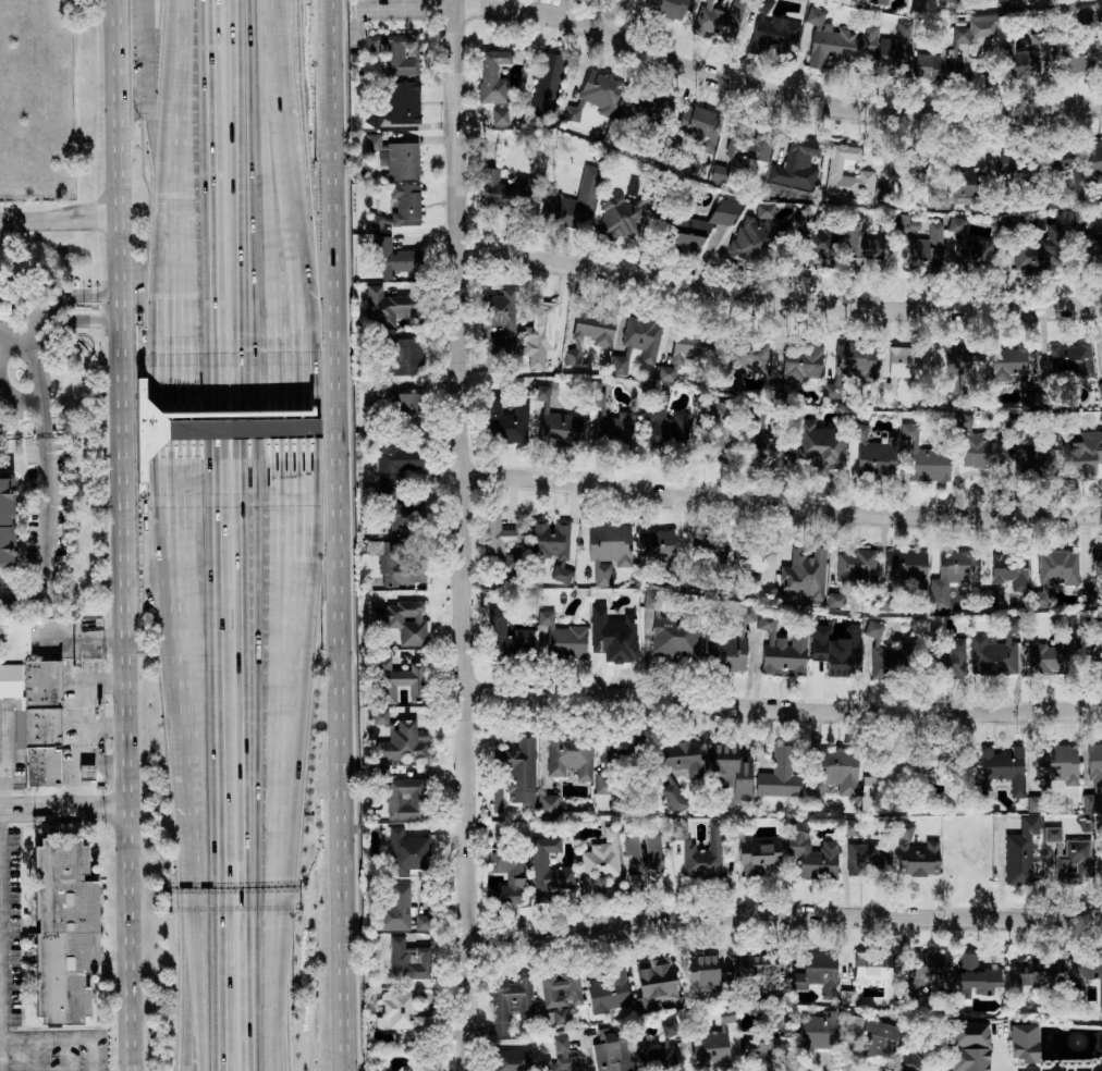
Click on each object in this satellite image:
building: (1034, 0)
building: (881, 2)
building: (766, 3)
building: (1013, 3)
road: (255, 5)
road: (260, 5)
building: (718, 19)
building: (984, 24)
building: (773, 36)
building: (828, 40)
building: (885, 44)
building: (396, 51)
road: (256, 56)
building: (1075, 56)
road: (182, 57)
building: (1026, 57)
building: (945, 59)
building: (492, 75)
road: (728, 79)
building: (595, 95)
building: (404, 101)
building: (649, 102)
building: (500, 115)
road: (147, 124)
building: (698, 127)
building: (372, 141)
building: (746, 143)
road: (257, 148)
road: (177, 153)
building: (1066, 159)
building: (1094, 159)
building: (403, 160)
building: (1012, 161)
building: (796, 164)
building: (833, 173)
building: (886, 185)
building: (958, 186)
building: (507, 190)
building: (576, 200)
building: (405, 204)
road: (84, 210)
road: (213, 213)
building: (617, 216)
road: (23, 220)
road: (84, 222)
building: (379, 222)
building: (701, 226)
road: (257, 227)
building: (758, 234)
road: (175, 245)
building: (866, 245)
building: (967, 245)
building: (926, 248)
building: (1090, 248)
building: (1039, 251)
building: (394, 259)
road: (258, 282)
road: (777, 299)
road: (51, 300)
building: (388, 305)
road: (70, 320)
building: (501, 321)
building: (589, 332)
building: (539, 333)
building: (641, 335)
building: (686, 352)
building: (751, 355)
building: (408, 356)
building: (1070, 359)
building: (803, 361)
building: (621, 364)
building: (1006, 364)
building: (849, 365)
building: (904, 368)
building: (956, 368)
road: (39, 374)
road: (17, 398)
building: (1031, 398)
building: (396, 399)
road: (179, 413)
building: (609, 419)
building: (507, 420)
building: (555, 420)
road: (20, 421)
building: (664, 422)
toll booth: (259, 427)
toll booth: (180, 428)
toll booth: (218, 428)
toll booth: (226, 428)
building: (719, 435)
building: (821, 445)
building: (981, 448)
building: (770, 451)
building: (873, 452)
building: (1080, 454)
road: (259, 456)
building: (923, 458)
building: (396, 460)
building: (1028, 460)
road: (781, 506)
road: (26, 509)
building: (400, 513)
building: (7, 520)
road: (42, 529)
road: (121, 534)
road: (344, 534)
road: (462, 535)
building: (551, 545)
building: (374, 546)
building: (501, 546)
building: (656, 546)
building: (608, 549)
road: (181, 559)
building: (755, 561)
building: (1095, 564)
building: (399, 565)
building: (904, 565)
building: (856, 566)
building: (1011, 569)
building: (1055, 570)
building: (804, 574)
building: (952, 576)
building: (989, 598)
building: (651, 601)
building: (401, 620)
road: (71, 630)
road: (183, 636)
building: (507, 636)
building: (614, 636)
building: (675, 636)
building: (558, 637)
building: (725, 649)
building: (782, 649)
building: (835, 651)
building: (993, 653)
building: (887, 655)
building: (1046, 657)
building: (951, 660)
road: (262, 667)
building: (399, 680)
road: (83, 705)
road: (782, 707)
building: (36, 715)
building: (380, 716)
road: (186, 724)
building: (402, 742)
building: (625, 747)
road: (223, 749)
building: (570, 755)
building: (1057, 763)
building: (1001, 766)
building: (677, 768)
road: (77, 770)
road: (106, 770)
road: (113, 771)
building: (834, 771)
building: (780, 774)
building: (1093, 777)
road: (5, 793)
road: (265, 793)
building: (405, 798)
road: (191, 802)
building: (548, 805)
road: (60, 809)
building: (1052, 834)
building: (407, 851)
building: (701, 851)
building: (811, 851)
building: (1019, 851)
building: (915, 853)
building: (758, 854)
building: (865, 855)
building: (640, 857)
building: (599, 860)
building: (1074, 861)
building: (547, 869)
building: (509, 874)
road: (194, 899)
road: (267, 909)
building: (401, 910)
road: (784, 913)
road: (1, 923)
building: (63, 931)
building: (408, 959)
building: (757, 963)
building: (872, 967)
building: (820, 970)
building: (1039, 971)
building: (925, 974)
building: (975, 975)
building: (1089, 975)
building: (653, 982)
building: (561, 988)
building: (609, 990)
building: (846, 997)
building: (511, 1000)
building: (400, 1012)
road: (192, 1013)
road: (197, 1013)
road: (268, 1015)
building: (560, 1015)
building: (725, 1017)
building: (853, 1024)
building: (967, 1033)
building: (815, 1034)
road: (46, 1037)
building: (882, 1037)
building: (1024, 1042)
building: (762, 1044)
building: (710, 1047)
building: (611, 1049)
road: (1, 1054)
road: (91, 1054)
road: (997, 1054)
building: (560, 1057)
building: (968, 1059)
building: (513, 1060)
building: (915, 1062)

